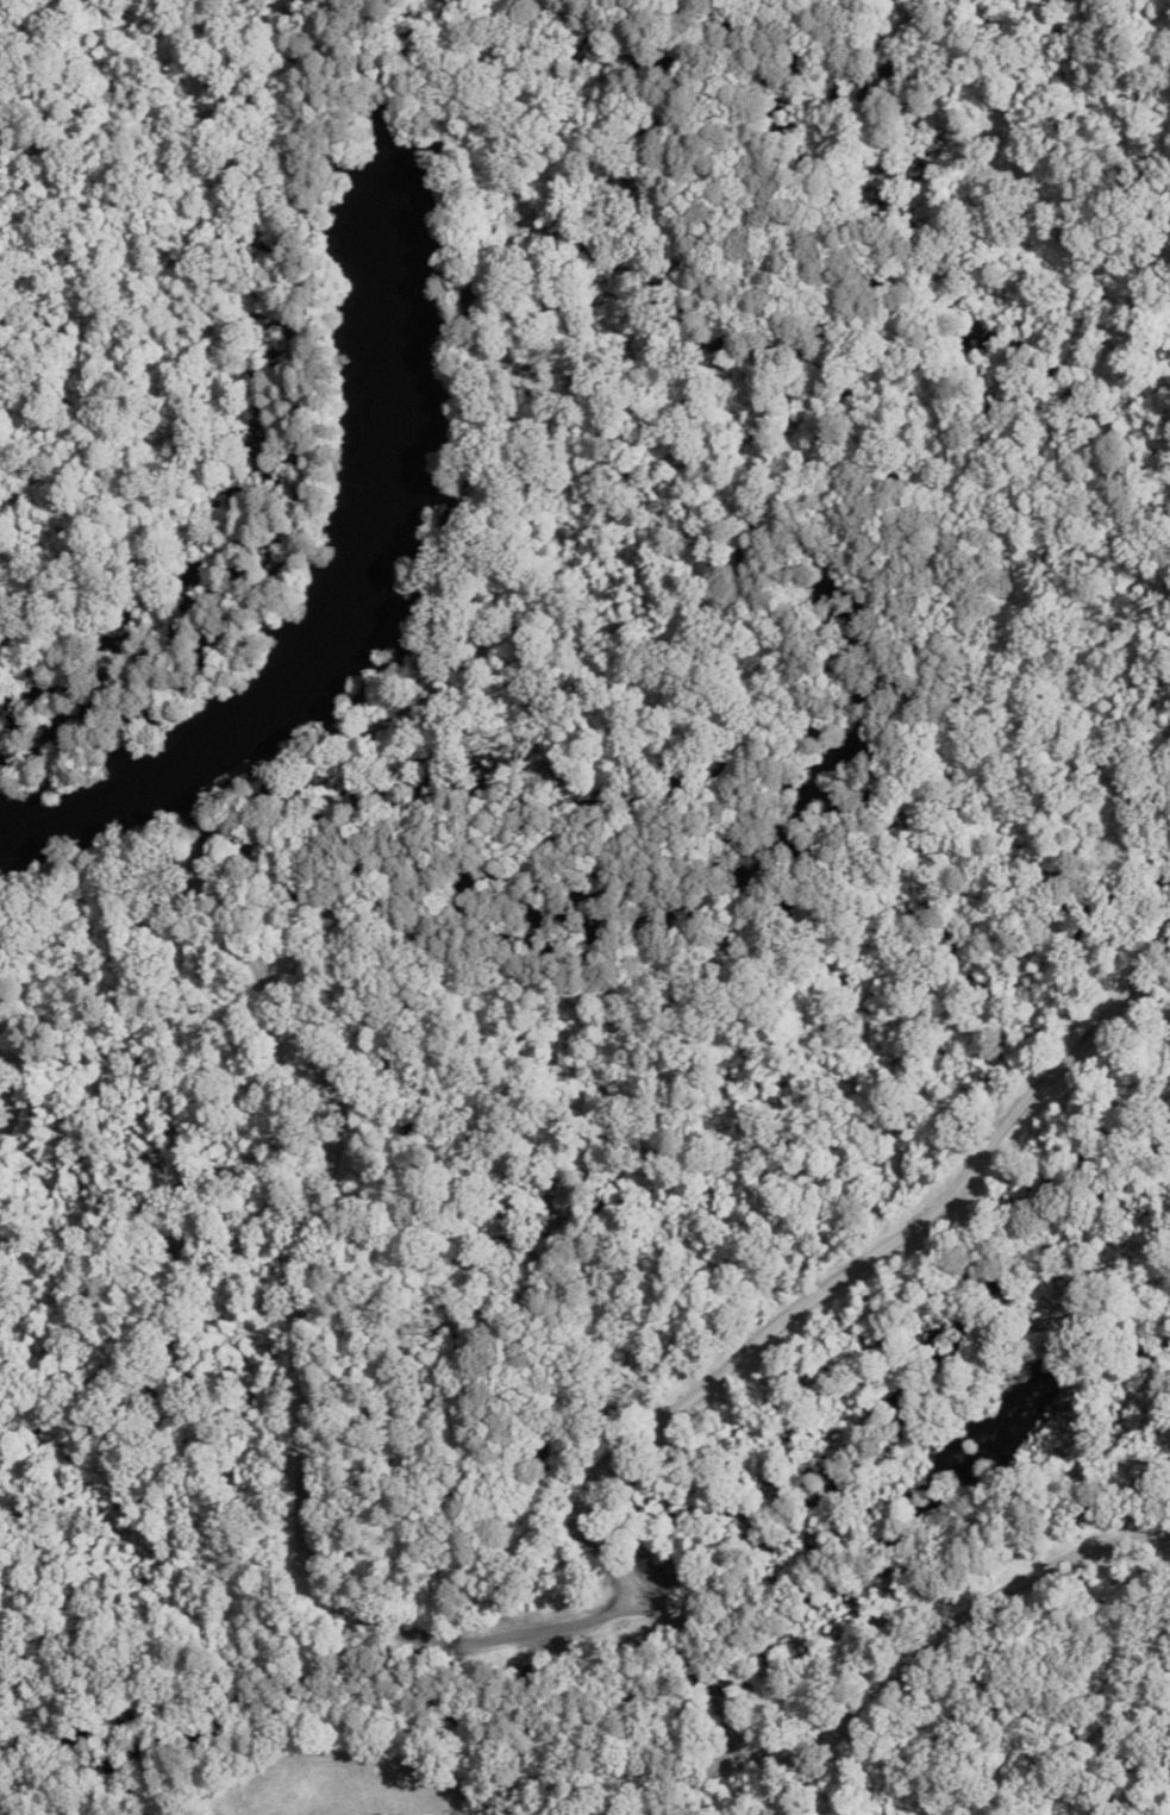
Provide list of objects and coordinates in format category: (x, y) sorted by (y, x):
road: (601, 1489)

